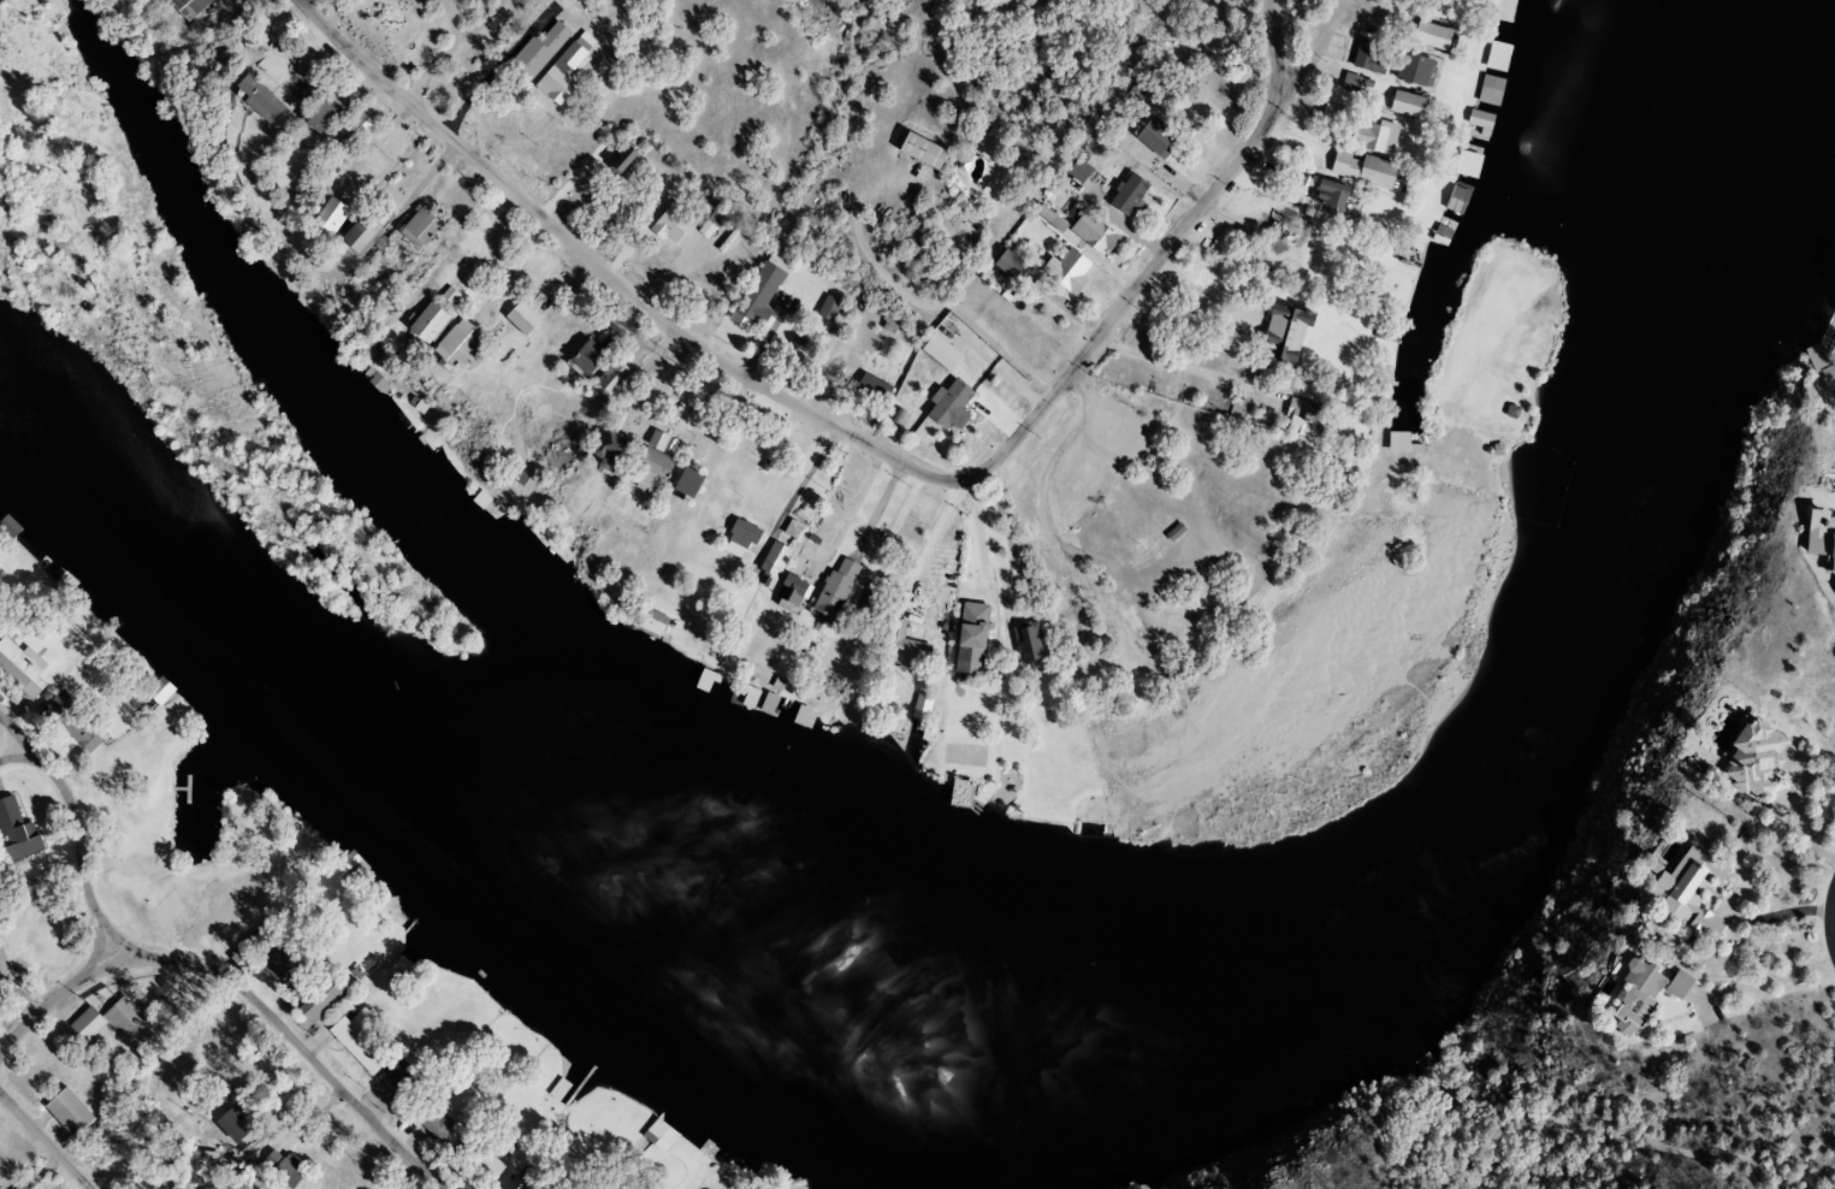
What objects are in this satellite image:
river: (1816, 1)
building: (182, 7)
building: (1499, 11)
building: (1426, 36)
building: (537, 48)
building: (1362, 59)
road: (1307, 60)
building: (1494, 60)
building: (1407, 70)
building: (557, 75)
building: (1346, 83)
building: (1488, 90)
building: (251, 97)
building: (1401, 105)
building: (313, 118)
building: (1478, 122)
building: (1152, 137)
building: (1371, 137)
building: (916, 152)
building: (1464, 165)
building: (1357, 170)
building: (1454, 201)
building: (326, 215)
building: (664, 226)
building: (1288, 226)
building: (415, 227)
building: (1089, 233)
building: (355, 236)
building: (1062, 272)
building: (756, 294)
building: (823, 308)
building: (421, 323)
building: (1237, 325)
building: (449, 348)
building: (586, 355)
building: (378, 377)
building: (608, 380)
building: (868, 390)
building: (1236, 409)
building: (945, 419)
building: (1304, 421)
road: (856, 438)
building: (646, 466)
building: (681, 484)
building: (483, 496)
road: (852, 505)
building: (10, 519)
building: (736, 538)
road: (1058, 540)
building: (45, 562)
building: (766, 566)
building: (66, 581)
building: (830, 590)
building: (787, 591)
building: (901, 647)
building: (19, 672)
building: (706, 676)
building: (158, 687)
building: (746, 692)
building: (766, 700)
building: (919, 708)
building: (48, 712)
building: (798, 714)
road: (11, 726)
building: (84, 737)
road: (11, 745)
building: (1751, 759)
building: (961, 791)
building: (14, 833)
building: (347, 860)
building: (1686, 893)
building: (383, 899)
road: (1828, 916)
building: (270, 956)
road: (202, 965)
building: (478, 974)
building: (1640, 993)
building: (310, 994)
road: (53, 998)
building: (539, 1017)
building: (109, 1023)
building: (356, 1039)
river: (1121, 1070)
building: (398, 1076)
building: (560, 1089)
building: (64, 1112)
building: (428, 1120)
building: (224, 1128)
building: (658, 1135)
road: (43, 1141)
building: (476, 1161)
building: (277, 1169)
building: (187, 1171)

